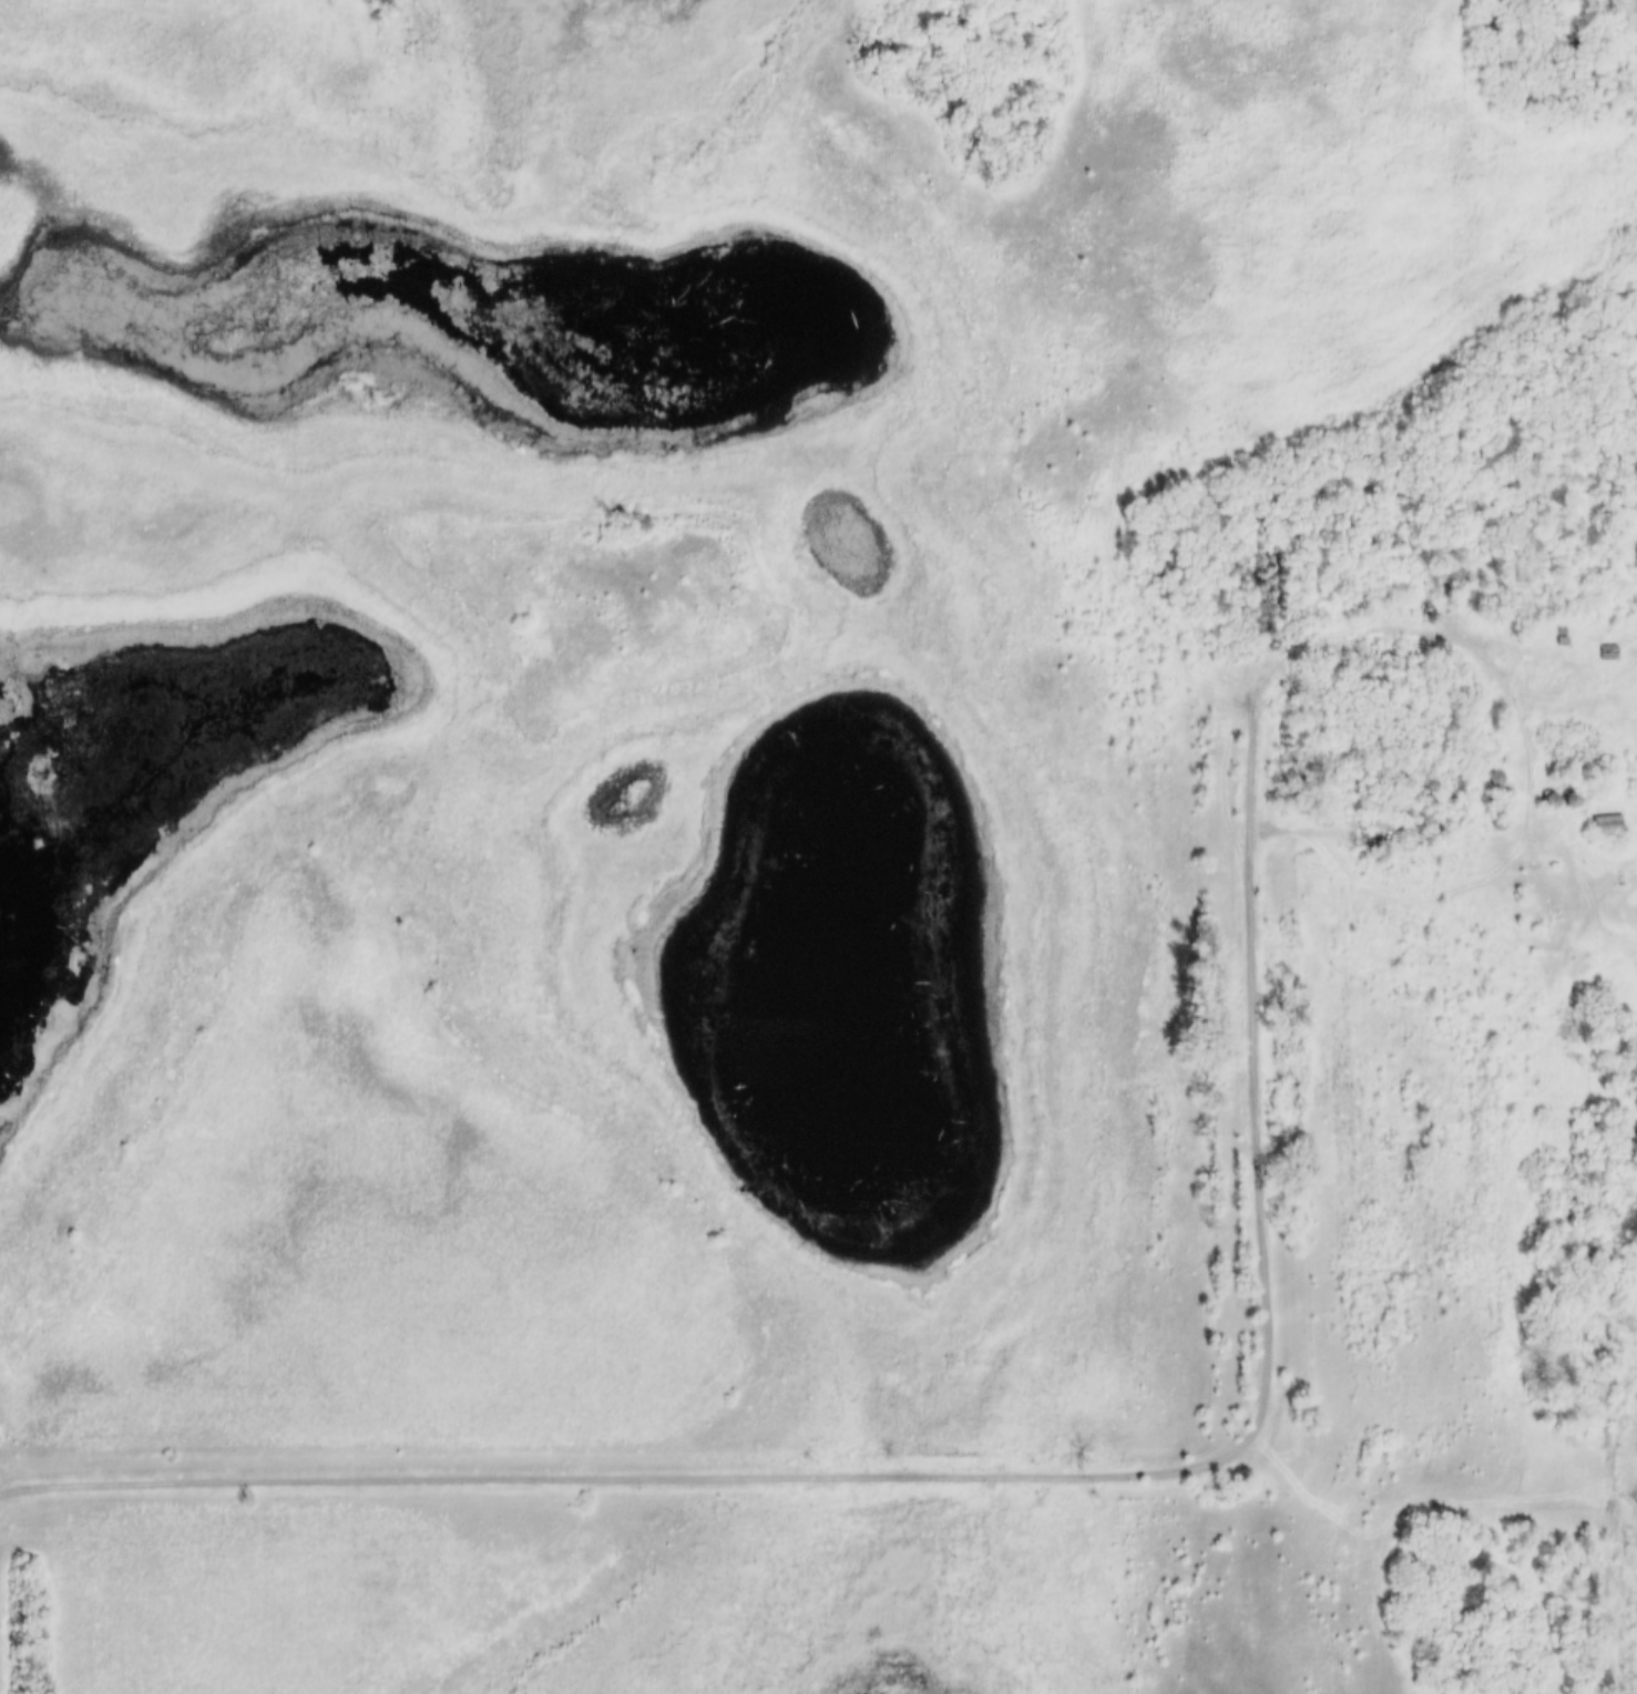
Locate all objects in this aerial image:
building: (1539, 598)
building: (1547, 608)
building: (1555, 620)
building: (1555, 630)
building: (1599, 641)
building: (1609, 651)
building: (1492, 748)
silo: (1492, 748)
building: (1492, 768)
silo: (1492, 768)
building: (1562, 790)
silo: (1562, 790)
building: (1493, 791)
silo: (1493, 791)
building: (1542, 791)
silo: (1542, 791)
building: (1380, 811)
building: (1494, 812)
silo: (1494, 812)
building: (1598, 817)
building: (1607, 824)
road: (1143, 1474)

